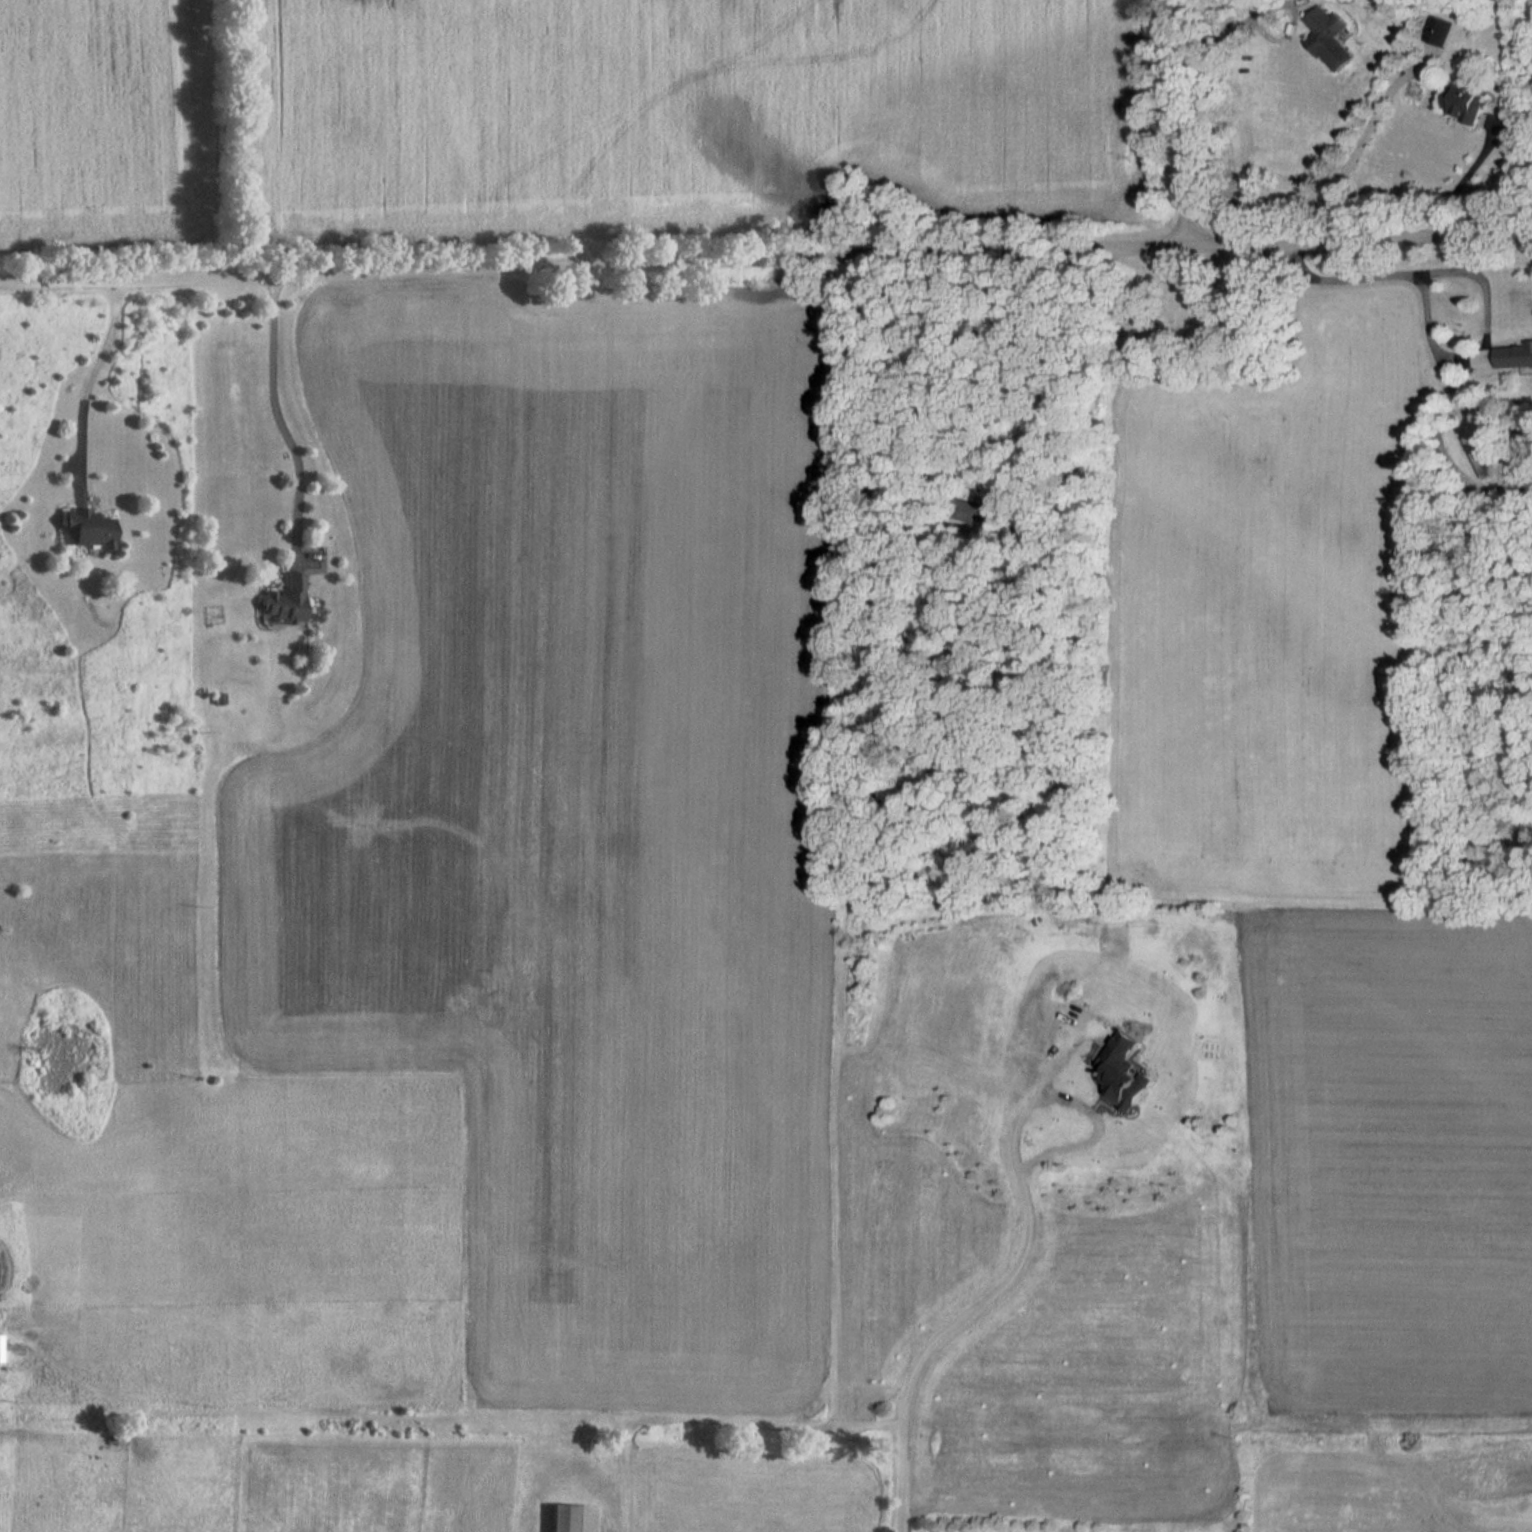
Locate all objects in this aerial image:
road: (1267, 5)
building: (1328, 37)
building: (1464, 102)
road: (1184, 122)
road: (1362, 135)
road: (1465, 181)
road: (766, 258)
road: (1478, 276)
building: (1515, 354)
road: (1049, 355)
road: (86, 388)
road: (279, 426)
building: (1486, 452)
building: (286, 600)
road: (1080, 1111)
road: (950, 1344)
building: (573, 1517)

